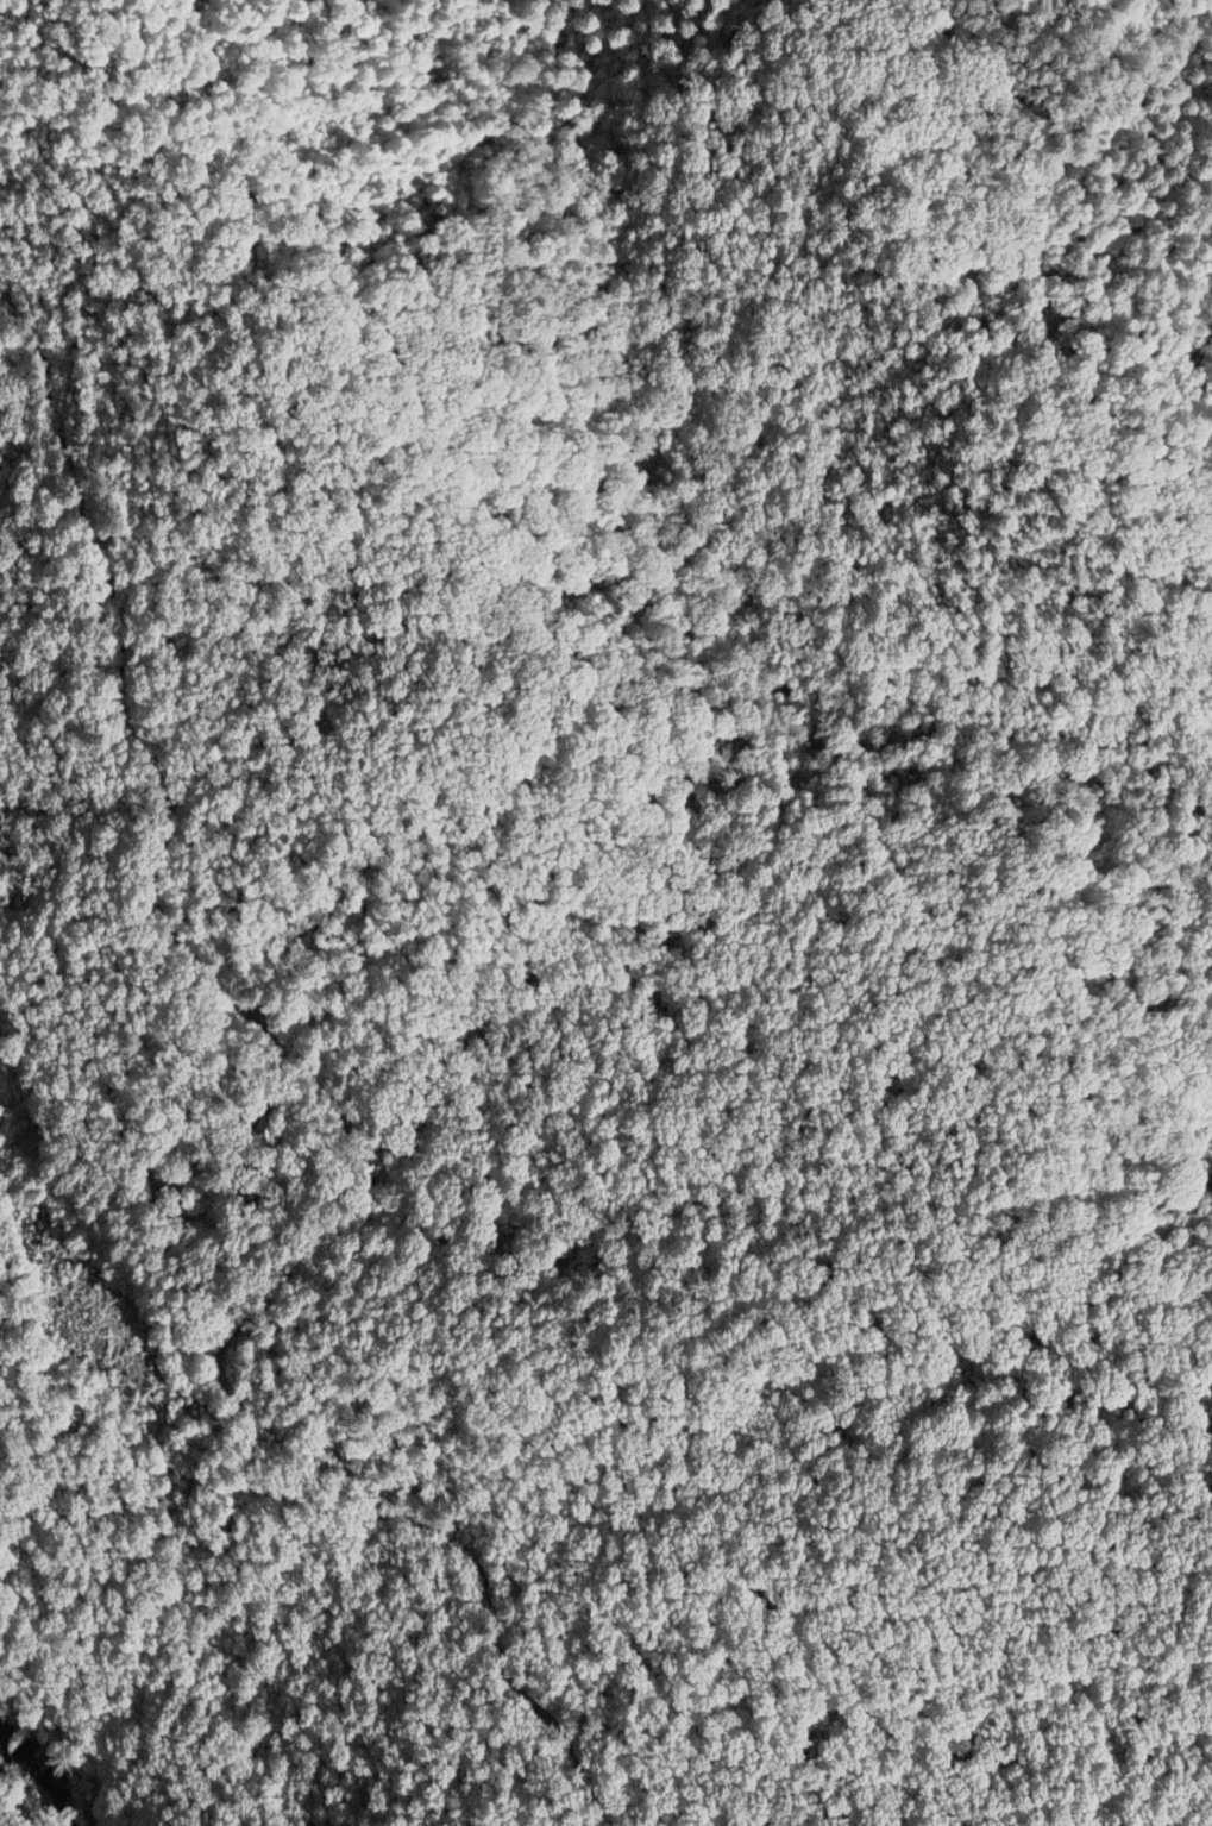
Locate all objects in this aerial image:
road: (346, 1129)
power tower: (84, 1334)
river: (49, 1774)

